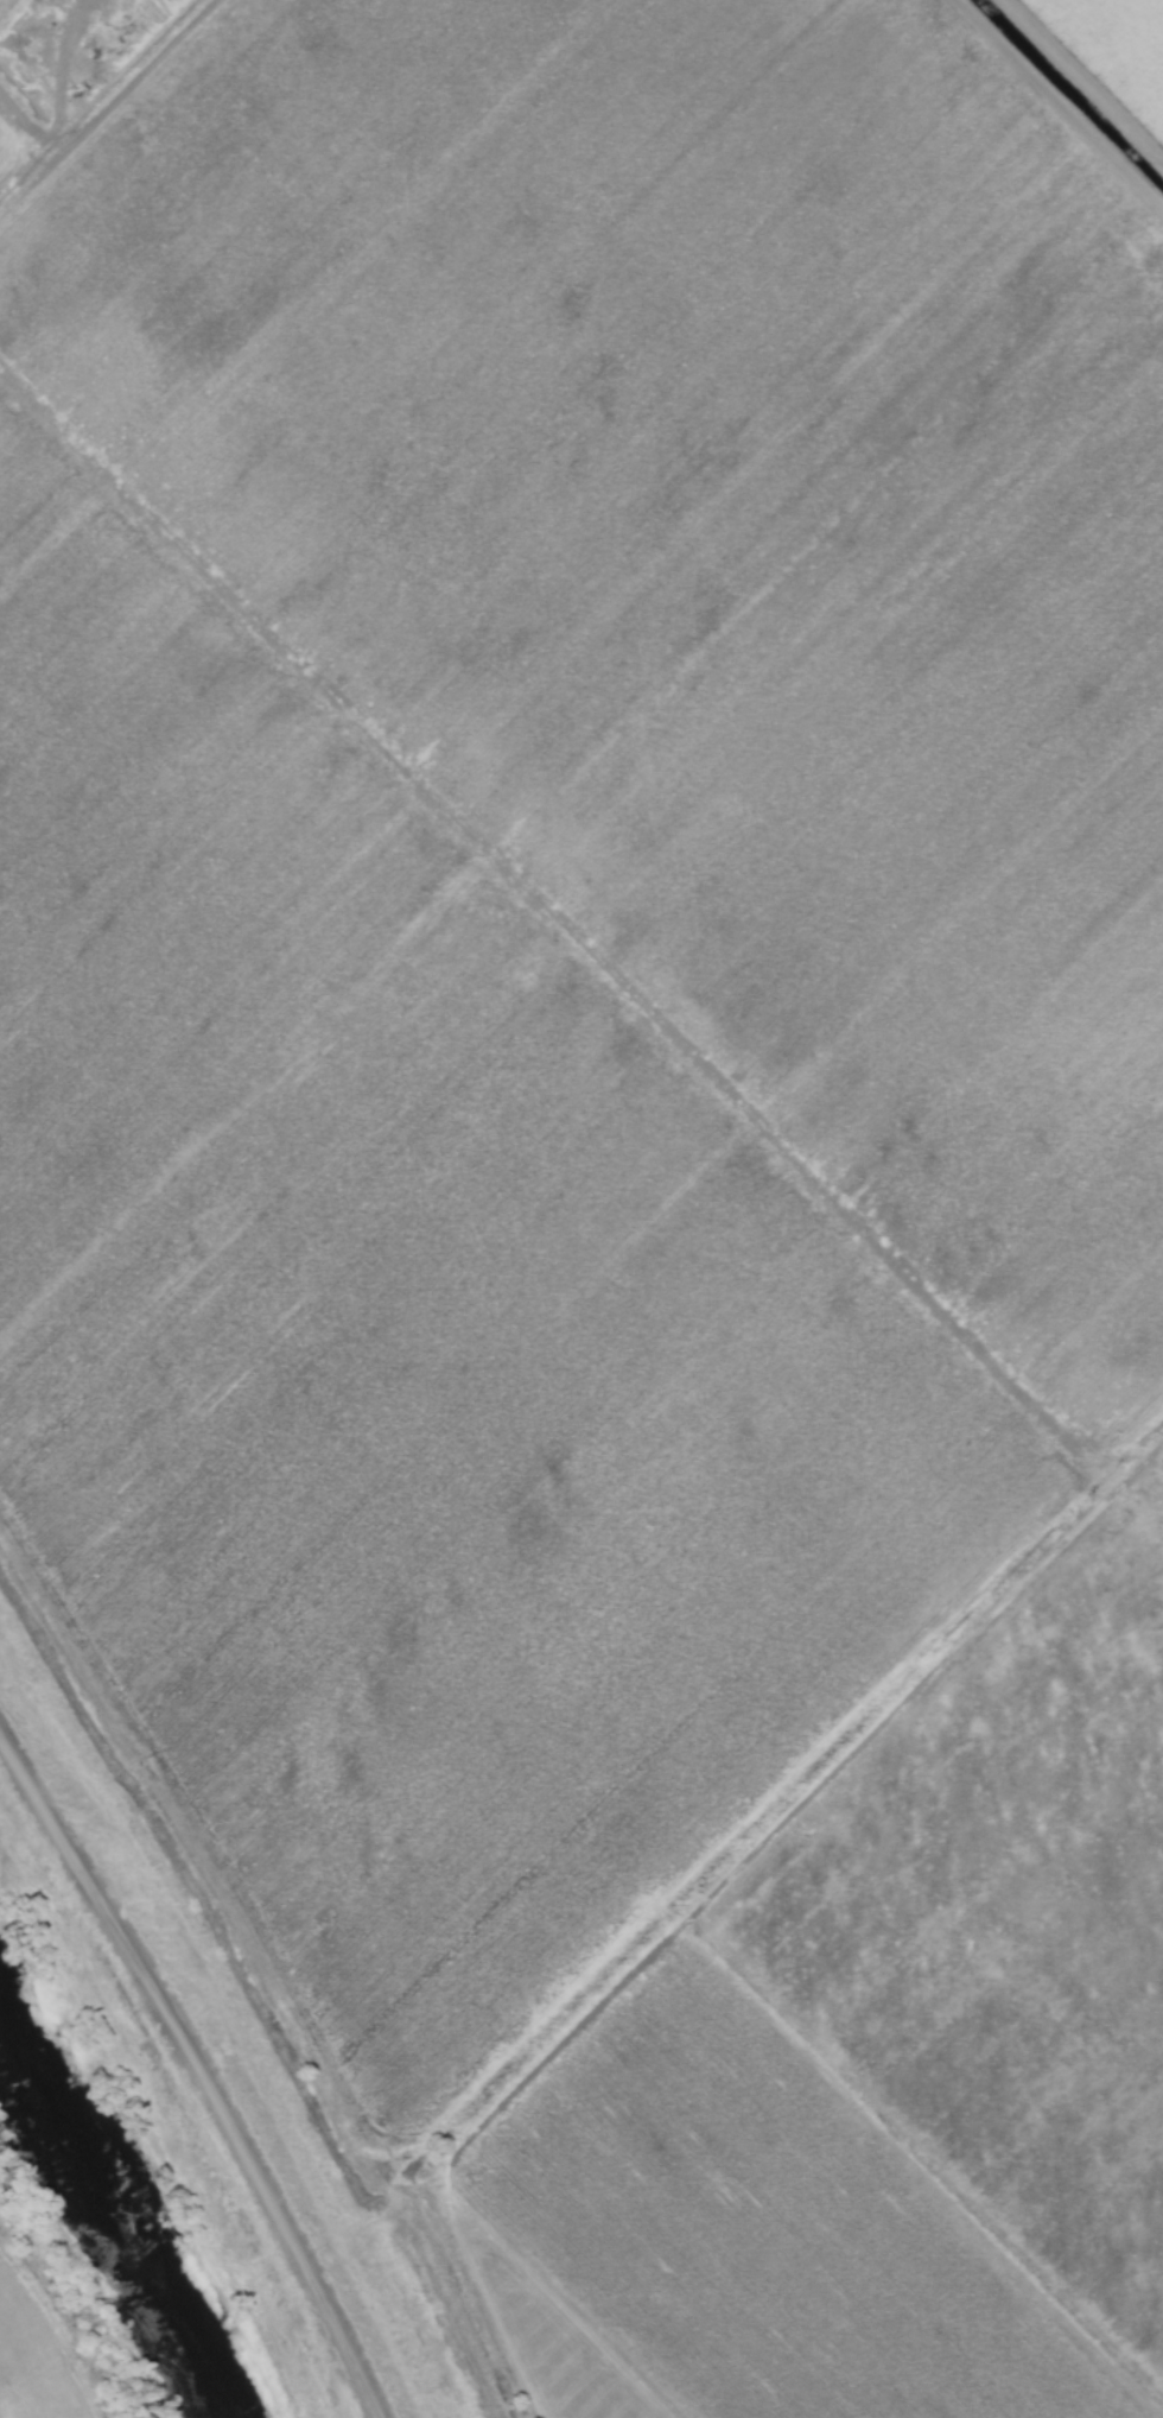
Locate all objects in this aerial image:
road: (147, 53)
road: (1073, 97)
crop: (609, 1151)
crop: (53, 2297)

